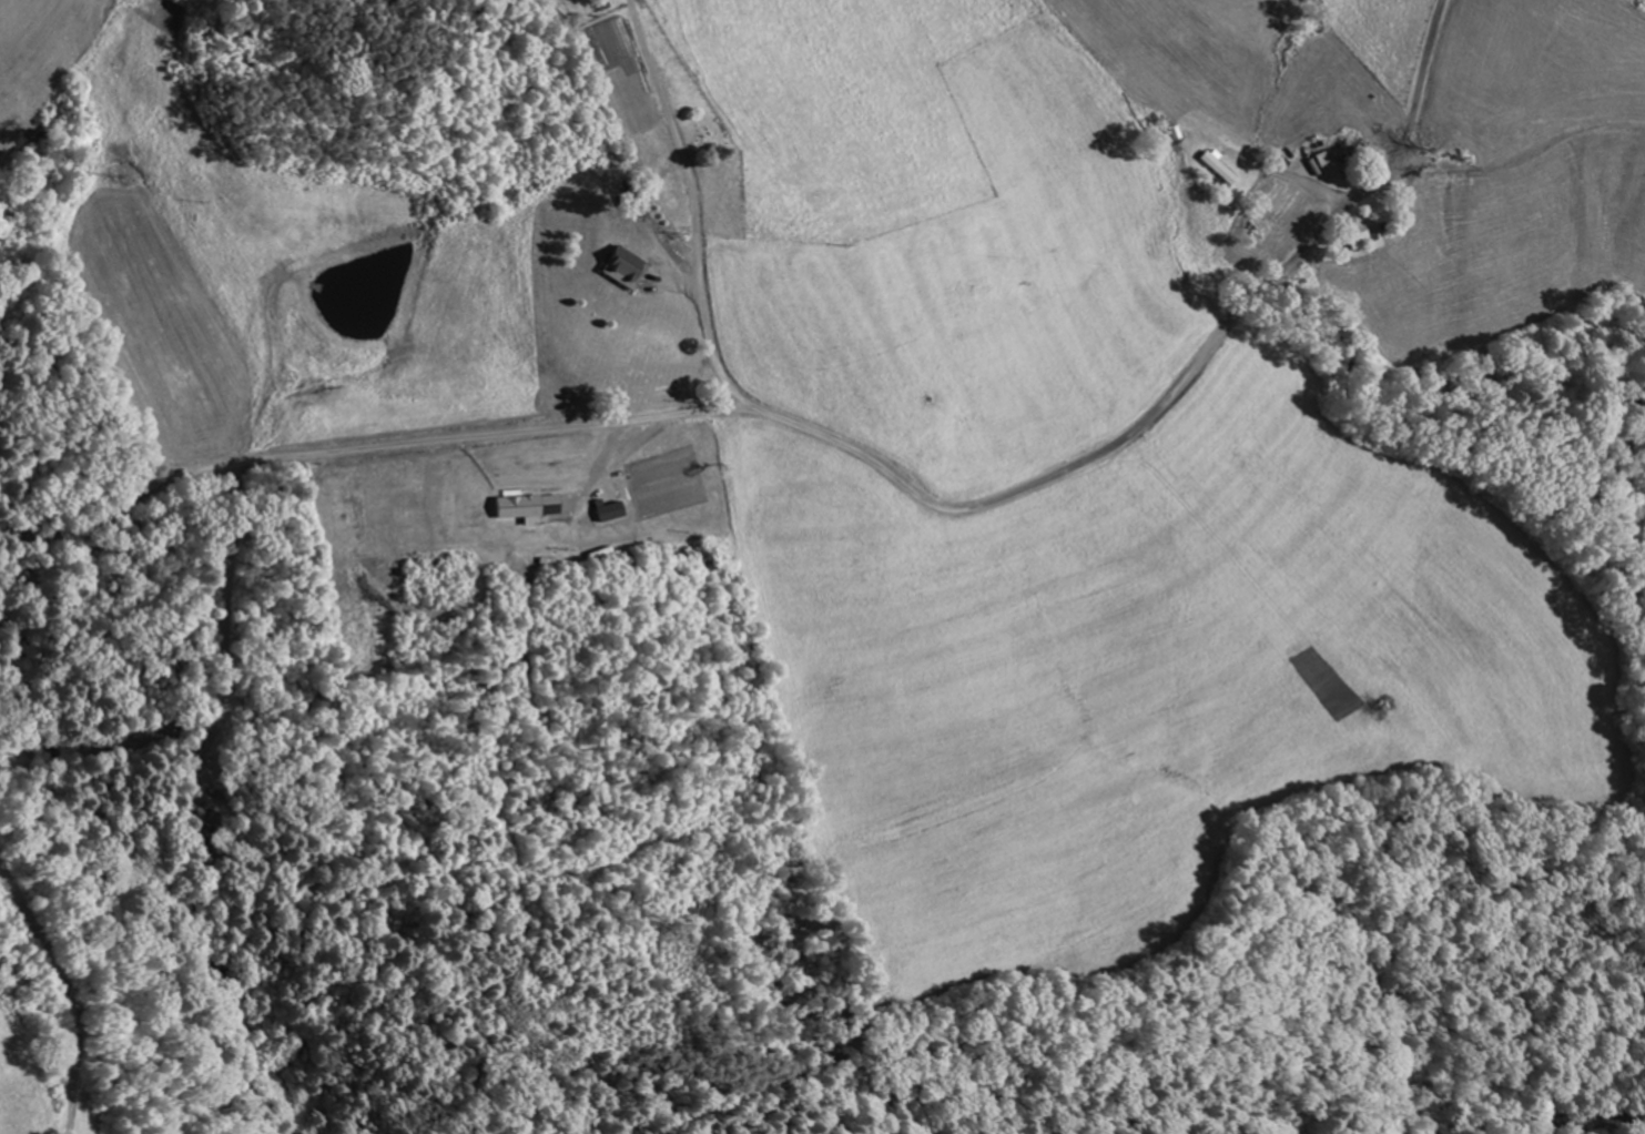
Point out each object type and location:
building: (1218, 168)
road: (699, 209)
building: (1355, 235)
building: (626, 269)
road: (1175, 386)
road: (366, 452)
road: (68, 995)

